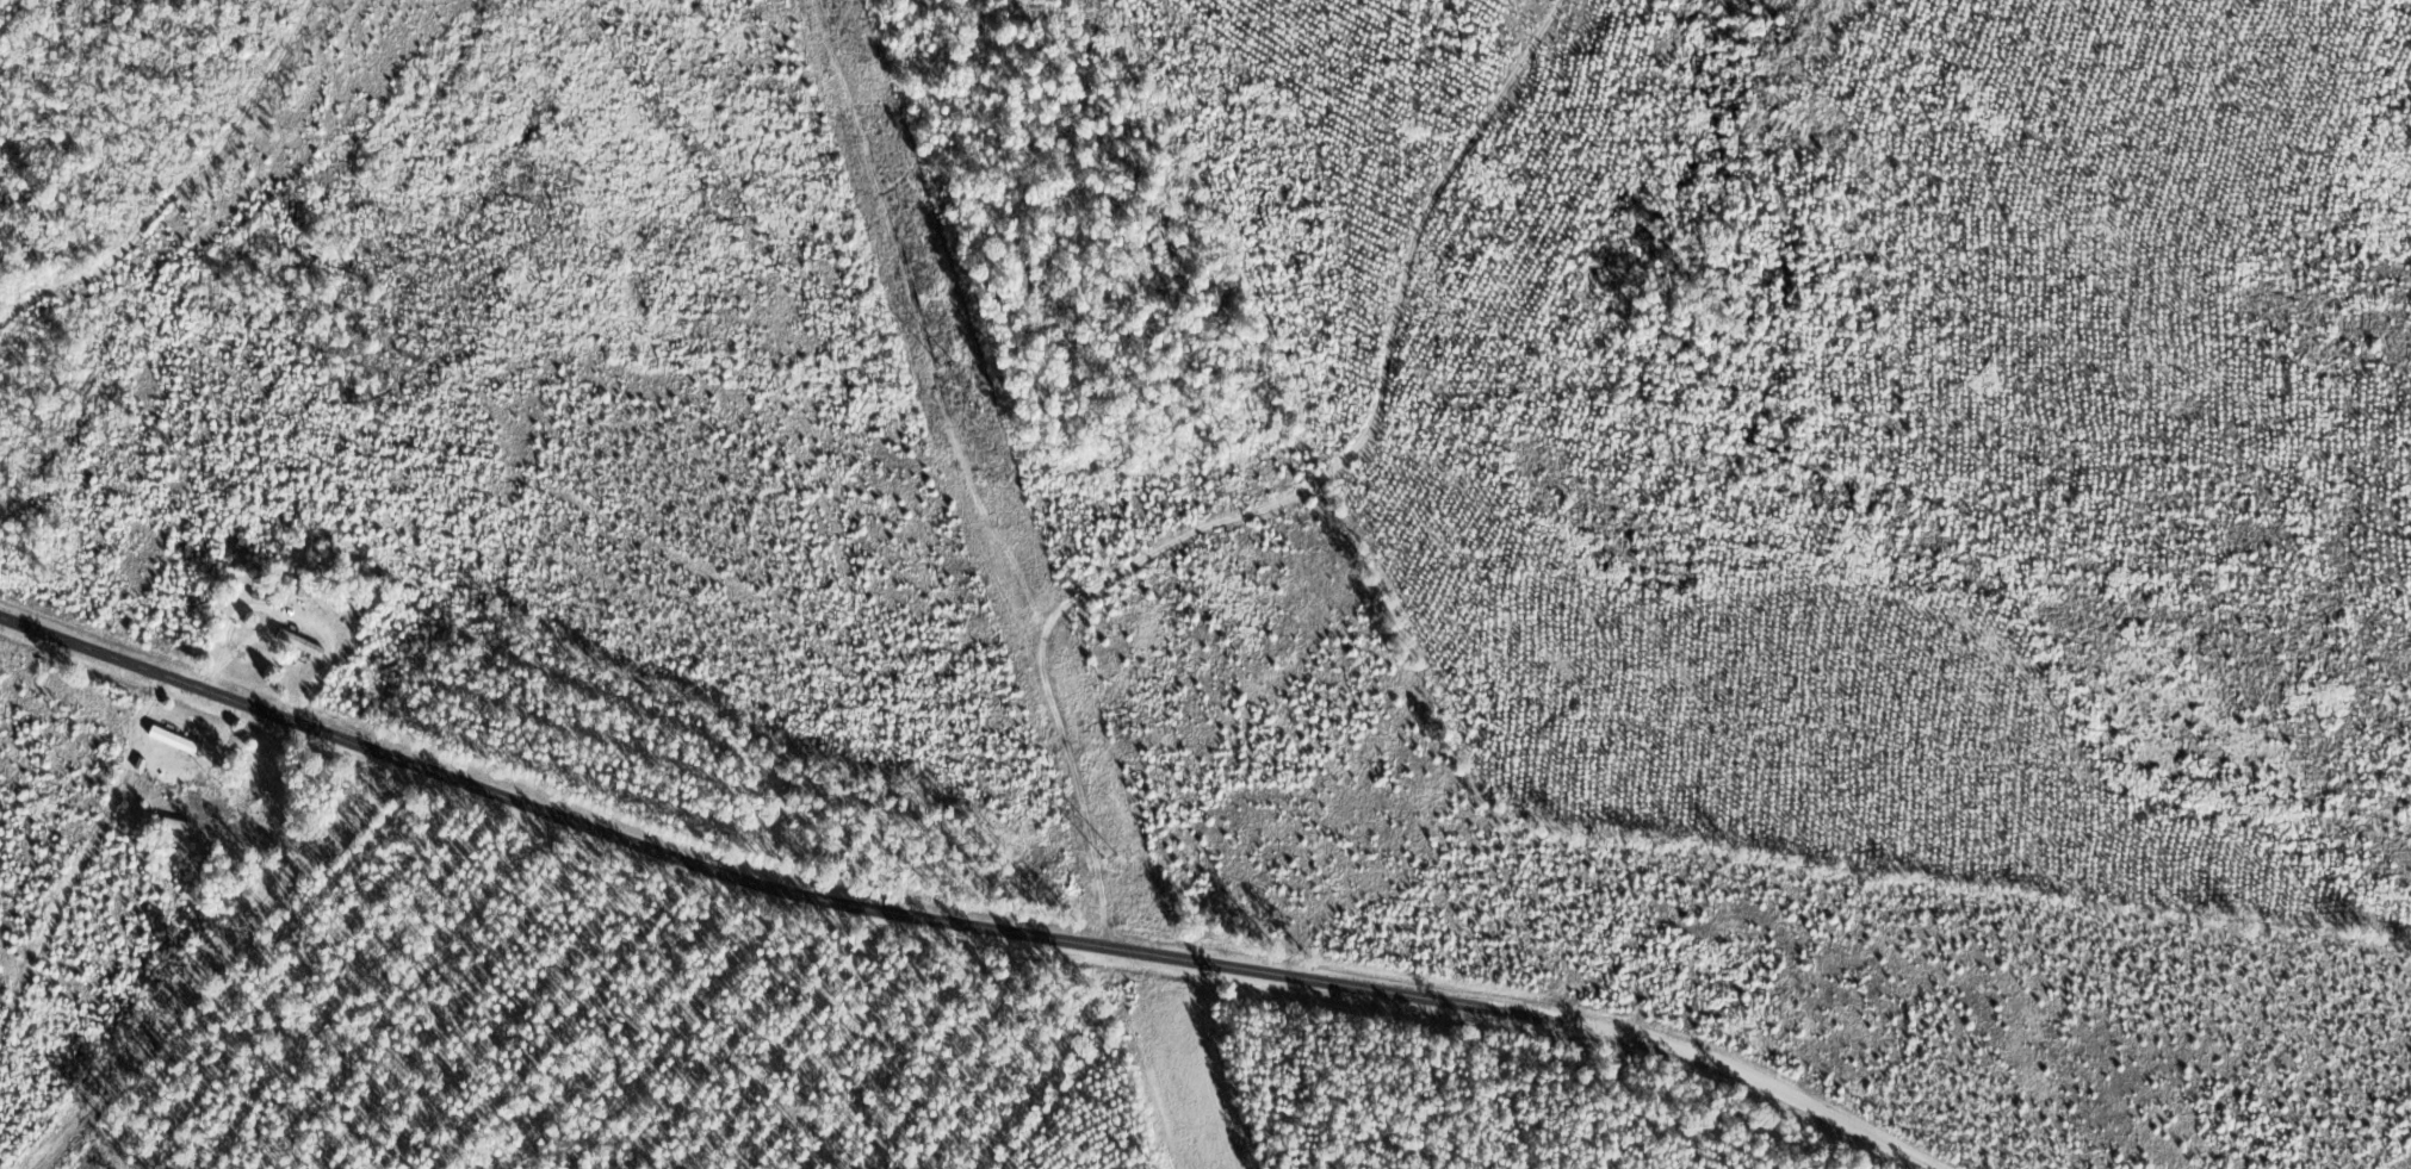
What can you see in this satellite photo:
power tower: (947, 365)
road: (749, 555)
road: (1468, 556)
building: (302, 589)
building: (304, 645)
building: (175, 741)
power tower: (1108, 853)
road: (948, 919)

